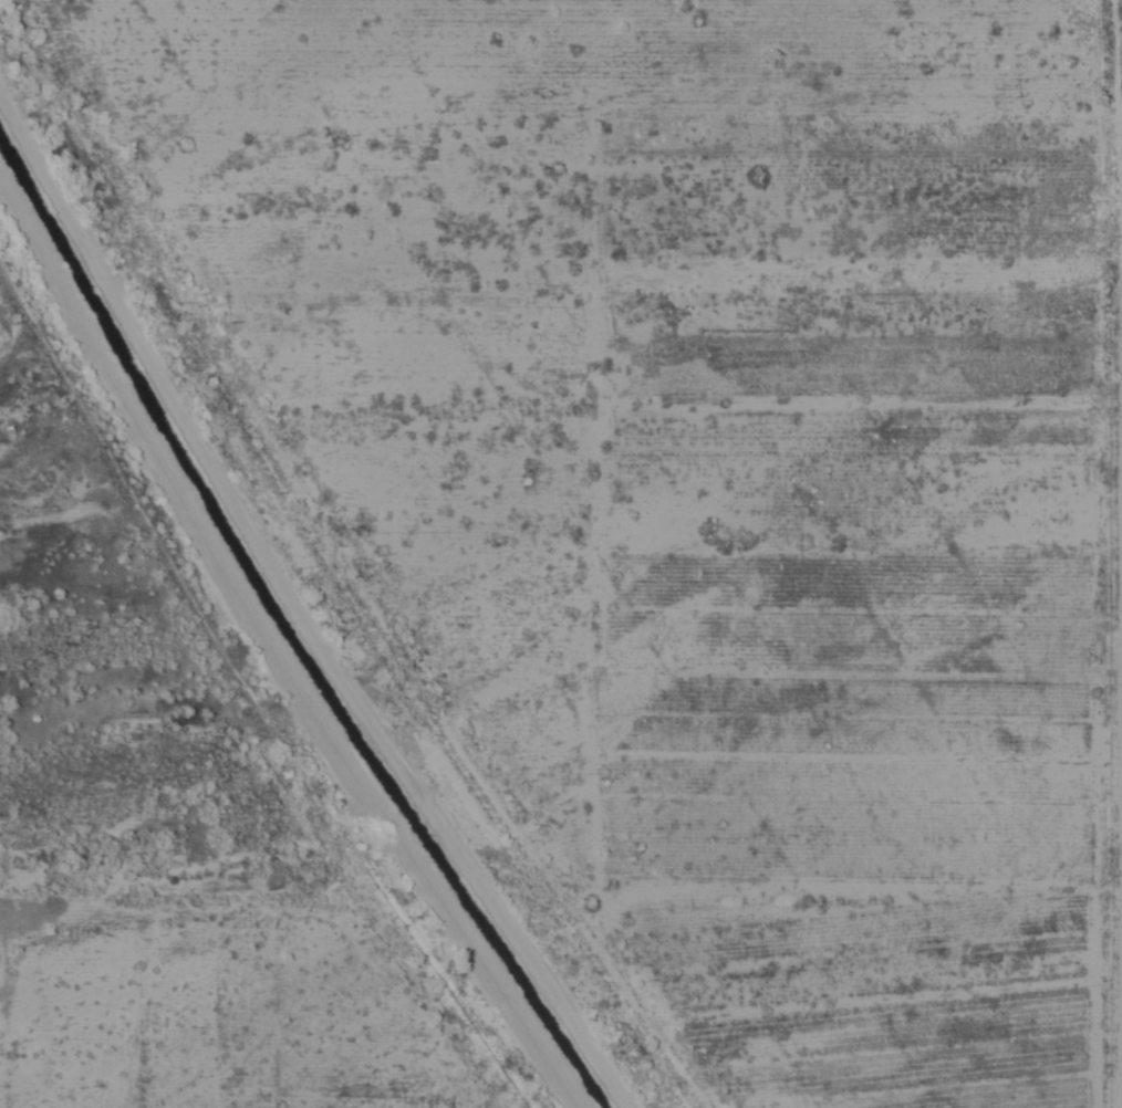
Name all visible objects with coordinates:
road: (307, 576)

